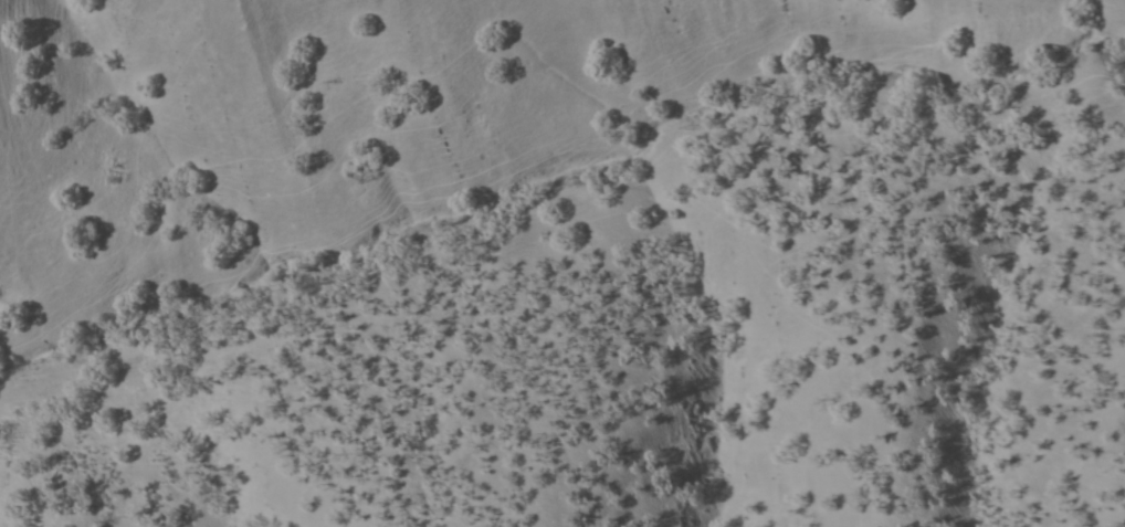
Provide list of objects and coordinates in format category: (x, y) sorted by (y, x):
road: (816, 259)

